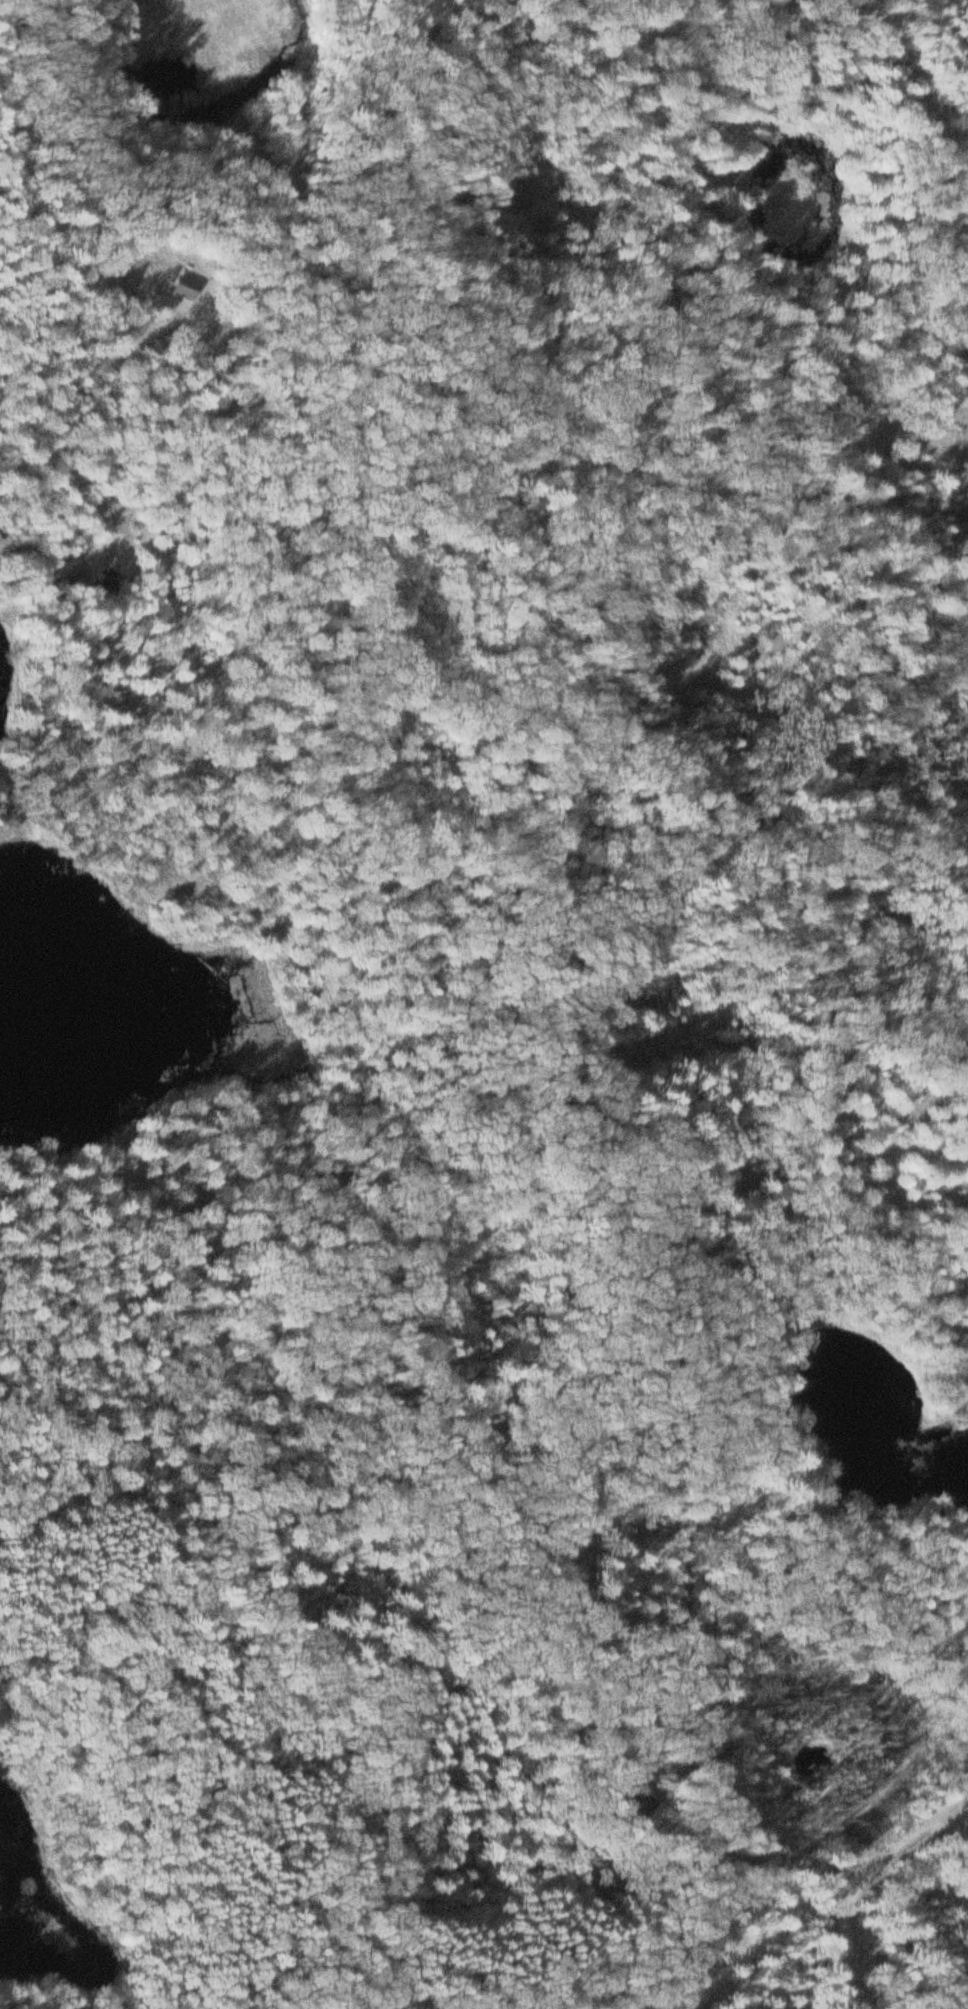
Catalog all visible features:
road: (17, 206)
building: (187, 291)

